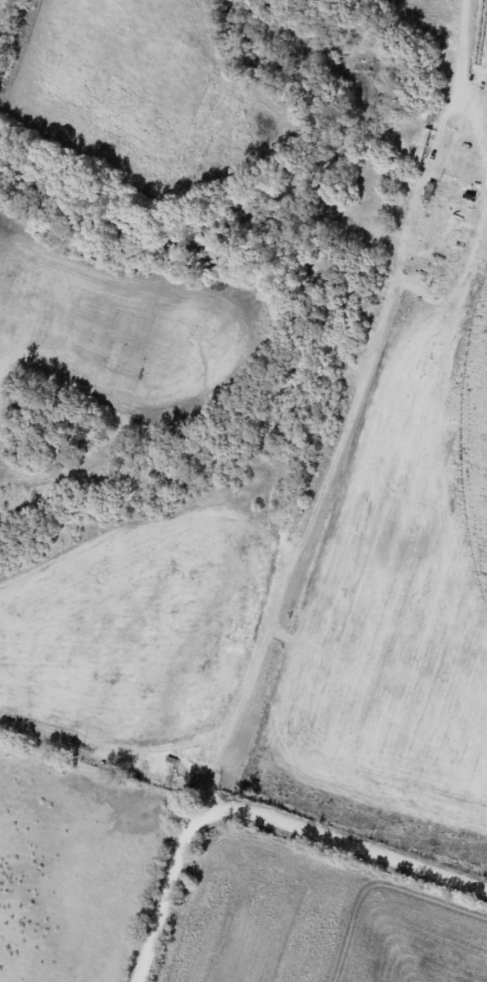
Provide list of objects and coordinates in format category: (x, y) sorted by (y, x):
building: (420, 146)
road: (274, 822)

